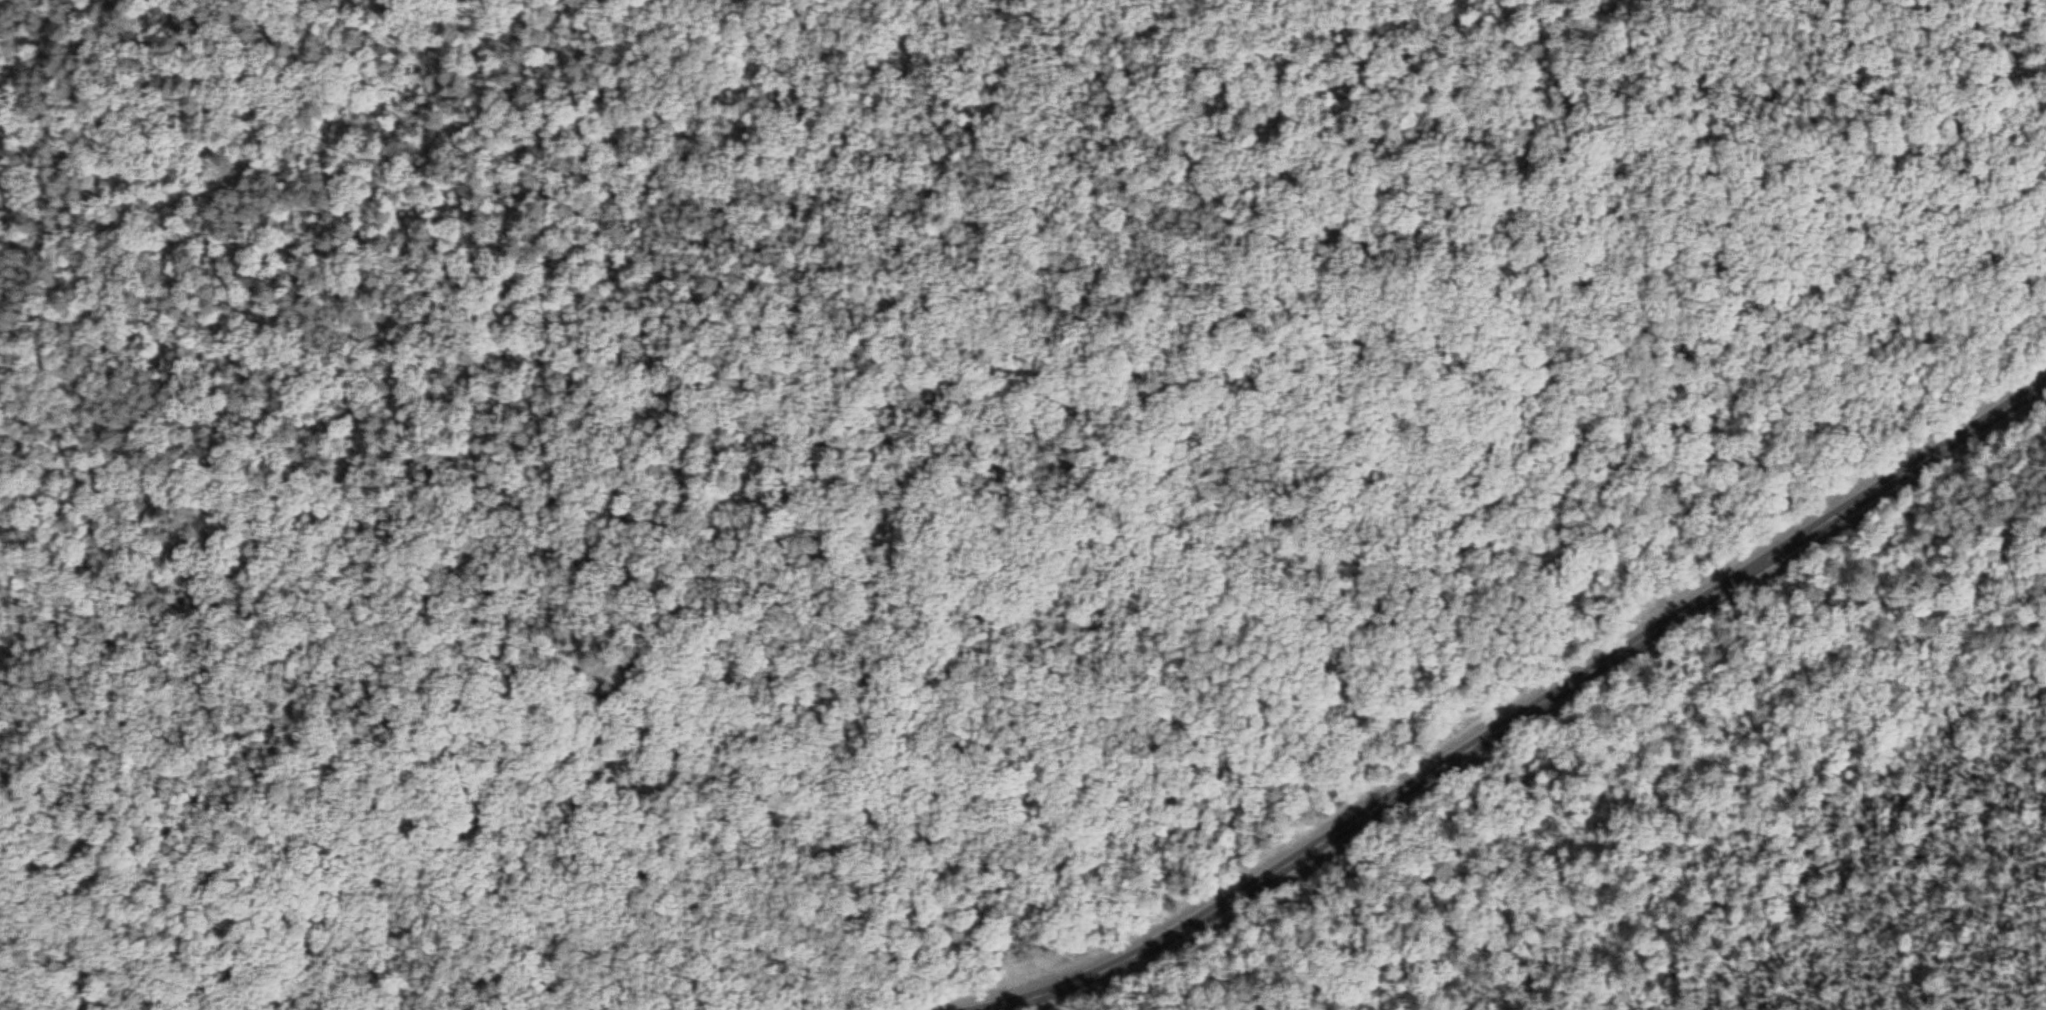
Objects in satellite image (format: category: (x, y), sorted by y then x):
road: (2010, 53)
road: (174, 150)
road: (1526, 712)
road: (1036, 1004)

